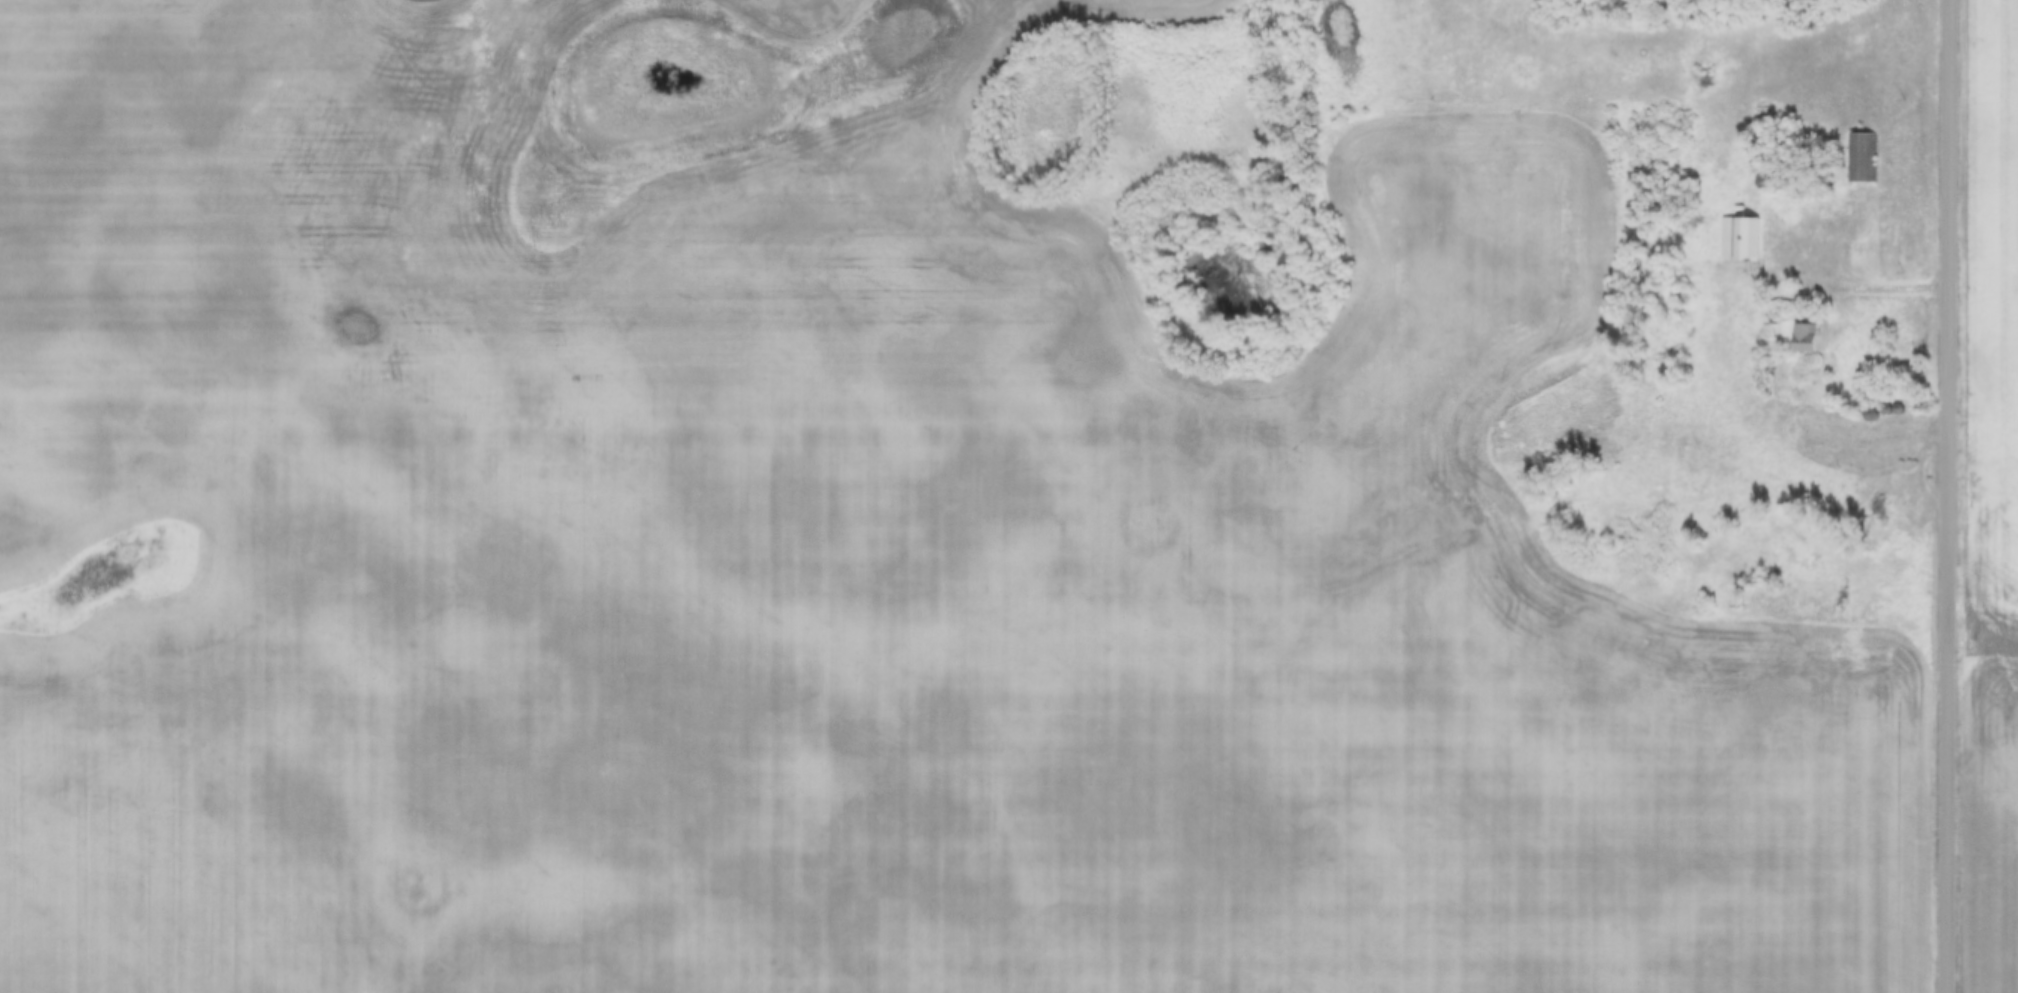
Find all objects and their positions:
building: (1861, 158)
building: (1738, 239)
road: (1855, 280)
building: (1803, 339)
road: (1946, 496)

